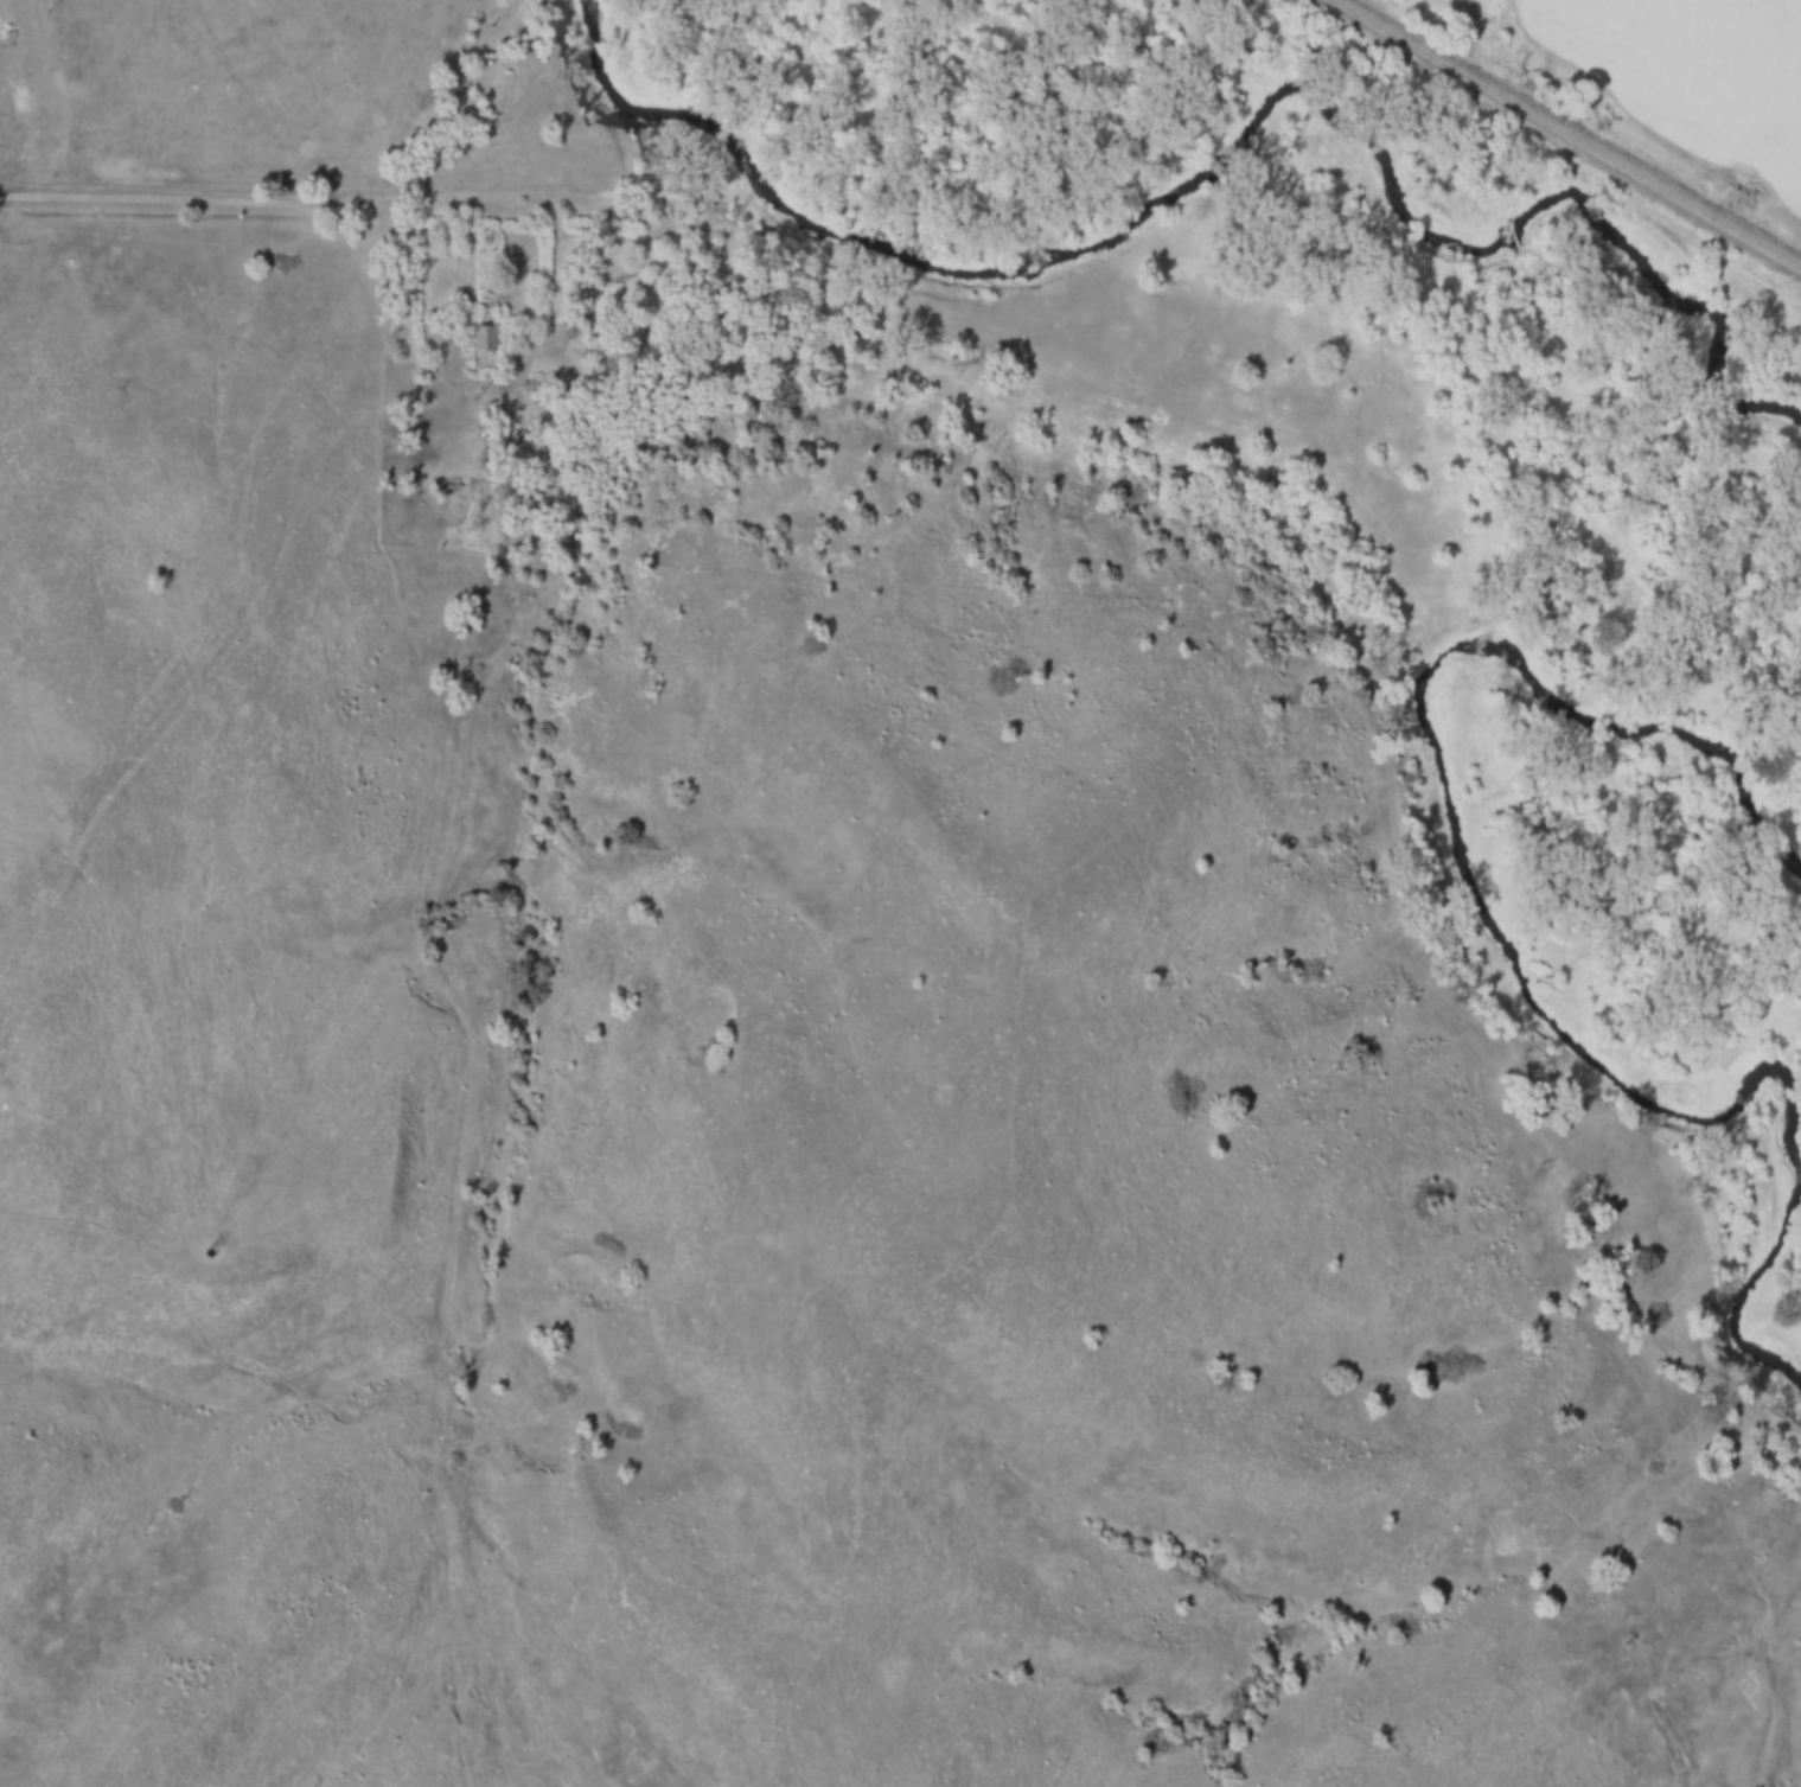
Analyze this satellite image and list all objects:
crop: (1481, 4)
crop: (1699, 75)
railway: (1569, 132)
building: (484, 340)

